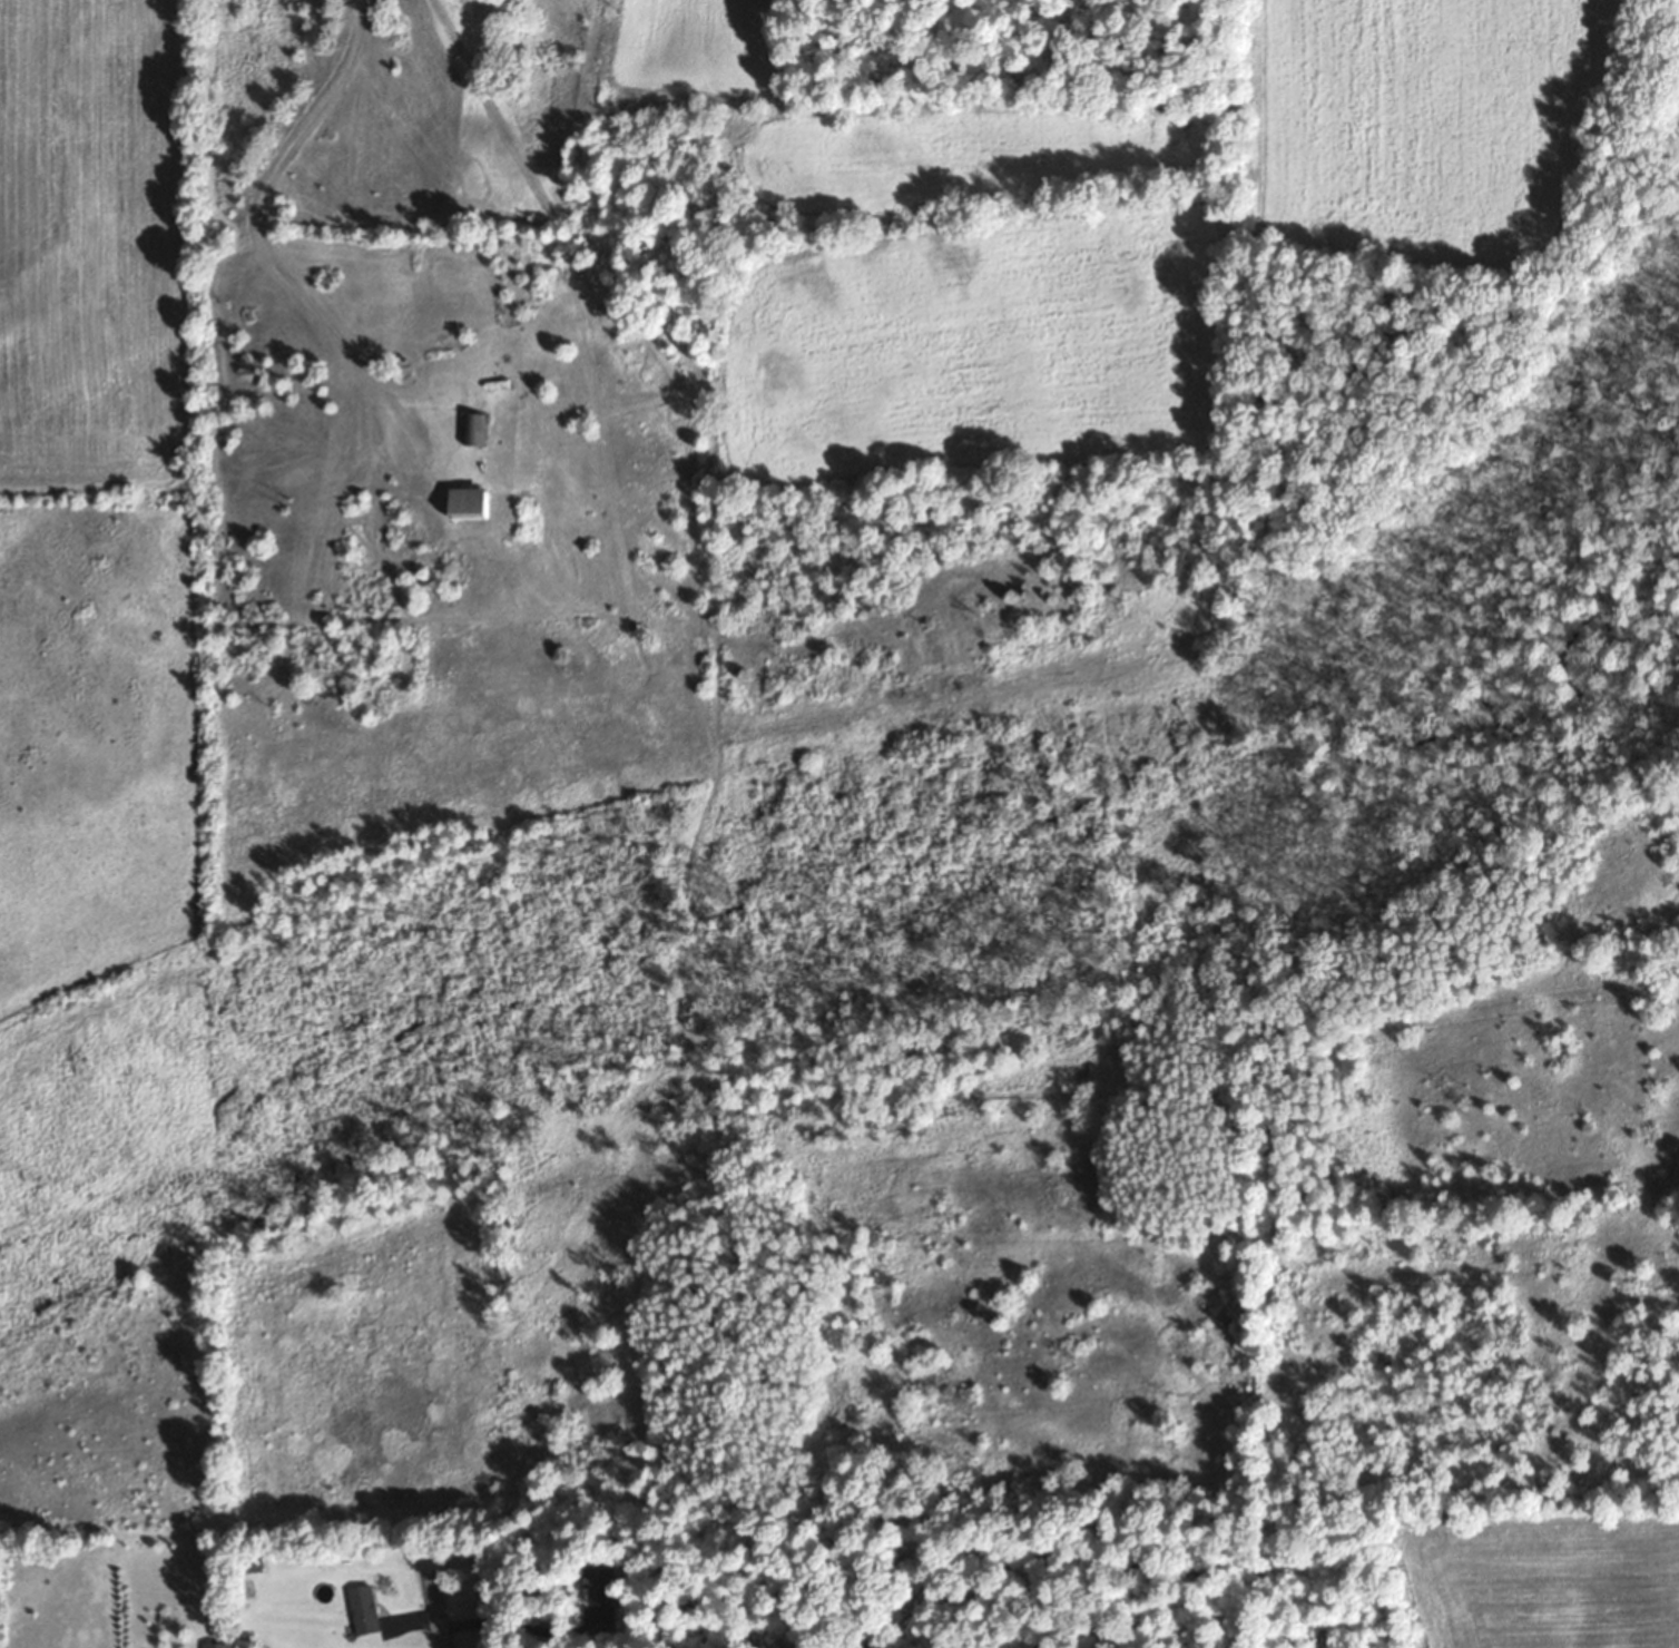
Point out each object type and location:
building: (472, 426)
building: (472, 501)
building: (603, 1583)
building: (363, 1609)
road: (439, 1611)

